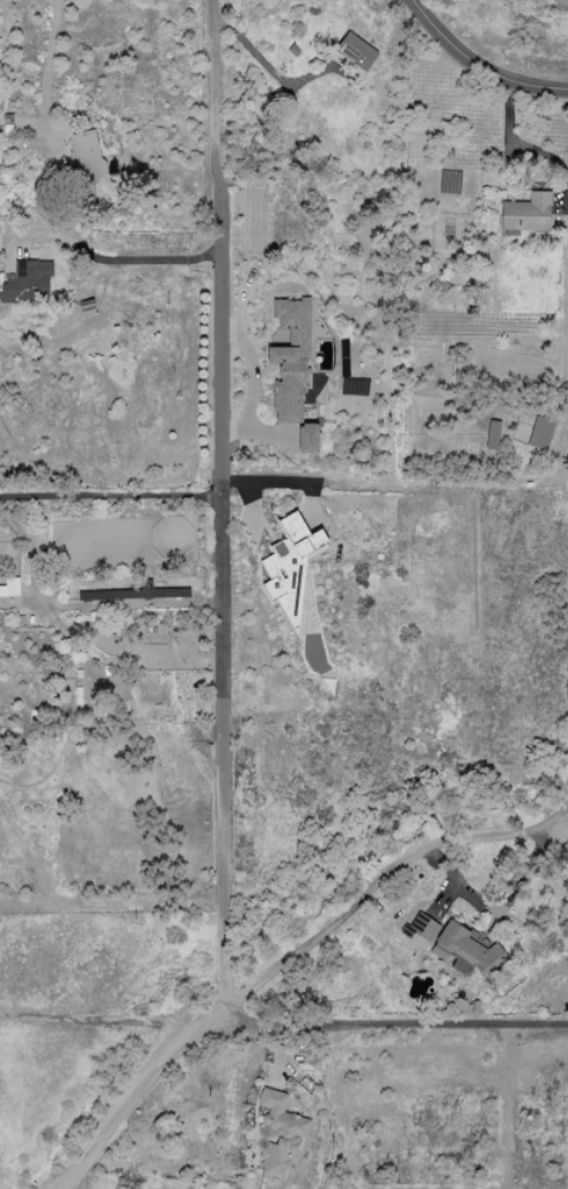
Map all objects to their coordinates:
building: (354, 50)
road: (480, 63)
road: (48, 64)
building: (87, 154)
building: (525, 212)
road: (144, 259)
building: (27, 282)
building: (289, 362)
road: (560, 430)
building: (539, 432)
building: (490, 435)
building: (305, 437)
road: (110, 495)
road: (220, 503)
building: (288, 553)
building: (10, 586)
building: (136, 594)
road: (376, 894)
building: (418, 930)
building: (464, 950)
road: (95, 1019)
road: (274, 1027)
building: (278, 1133)

